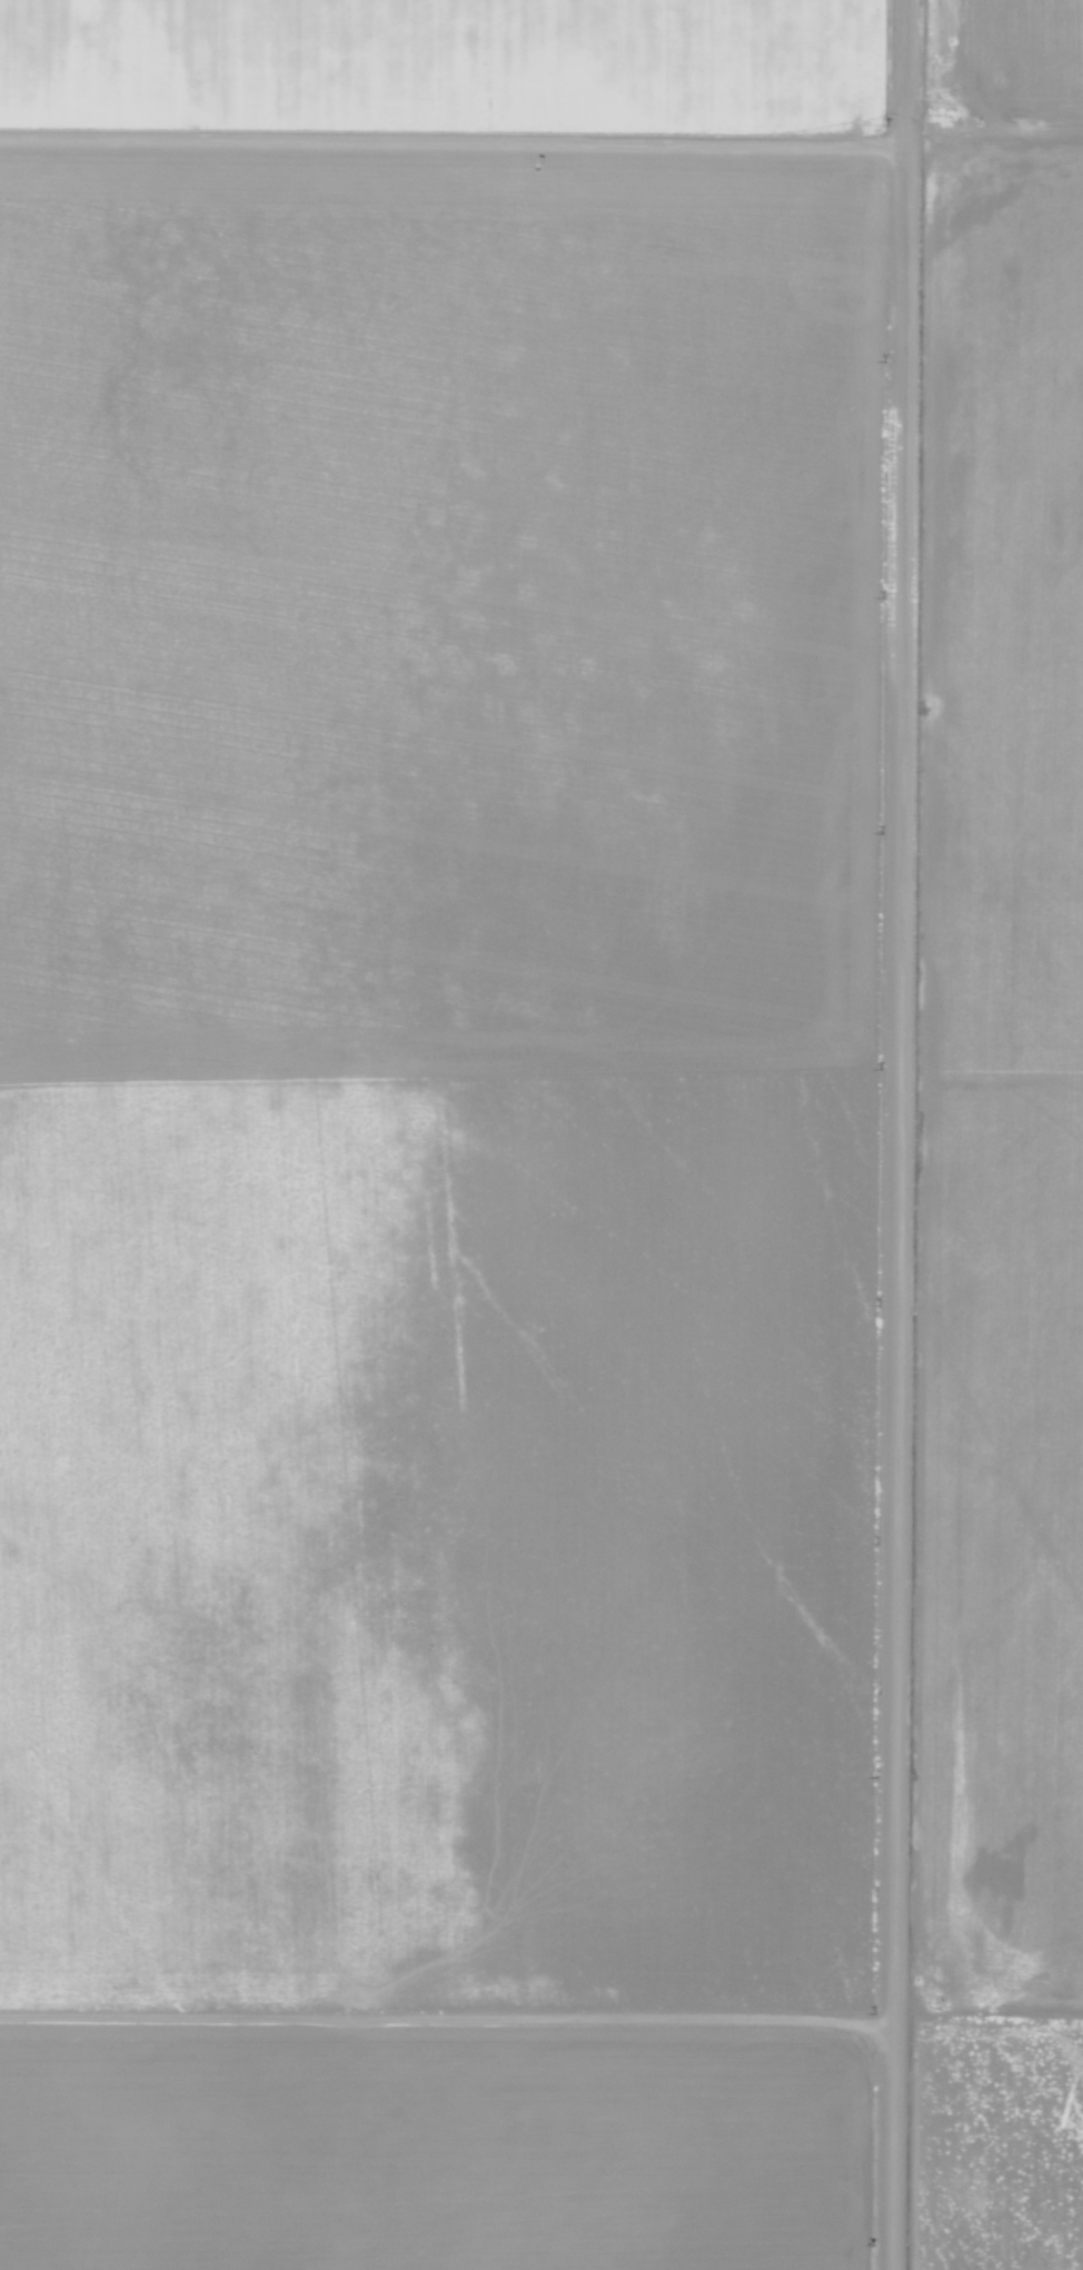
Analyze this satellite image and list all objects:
crop: (448, 73)
road: (541, 135)
road: (918, 1134)
road: (541, 2031)
crop: (439, 2150)

